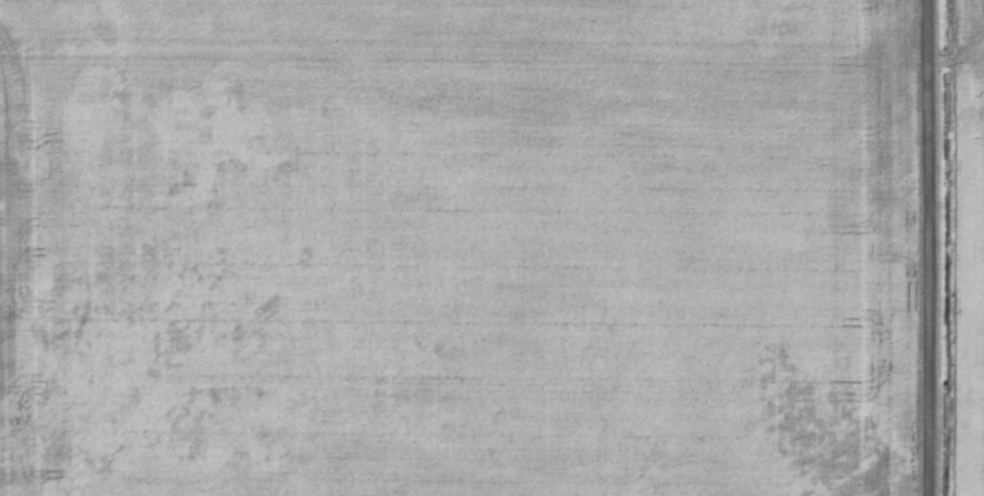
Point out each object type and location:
crop: (454, 248)
road: (926, 248)
crop: (965, 249)

